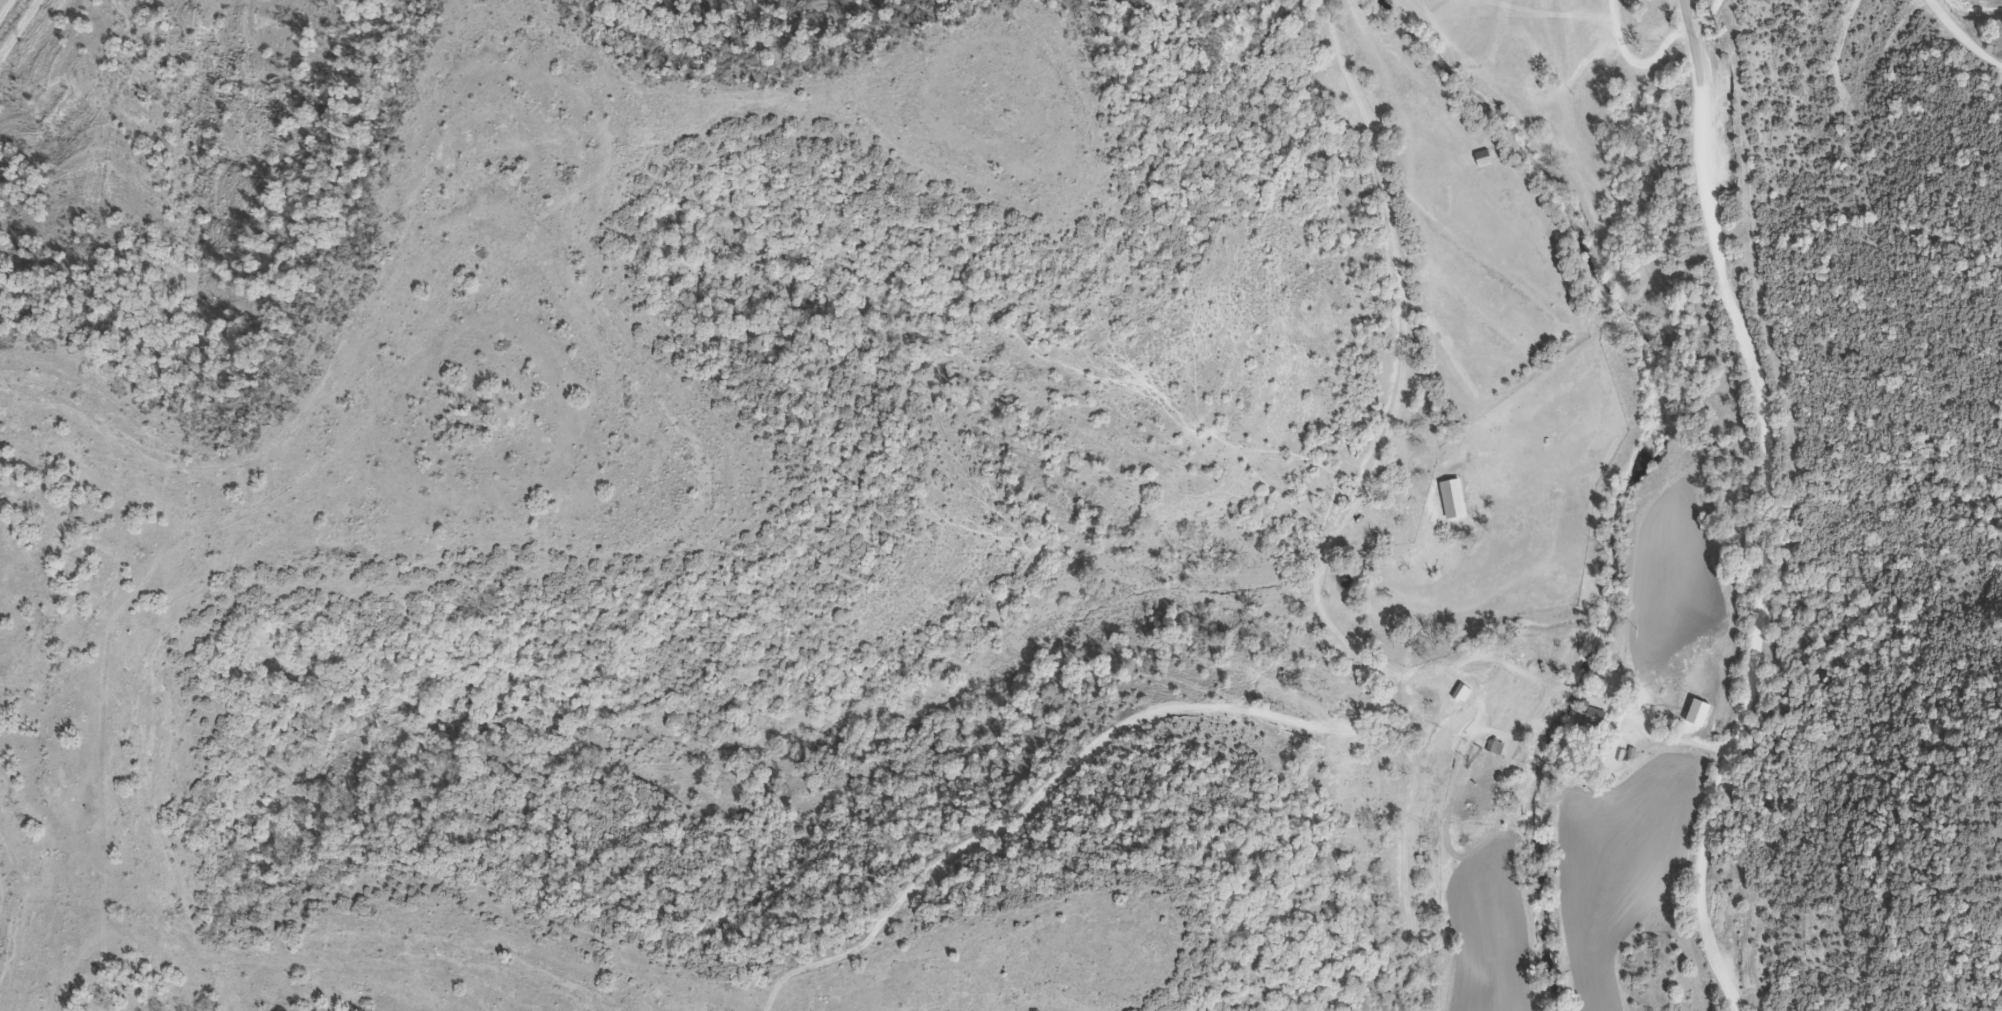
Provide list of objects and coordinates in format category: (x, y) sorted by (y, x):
road: (1706, 12)
road: (1640, 59)
building: (1452, 500)
road: (1723, 507)
building: (1462, 694)
building: (1594, 718)

